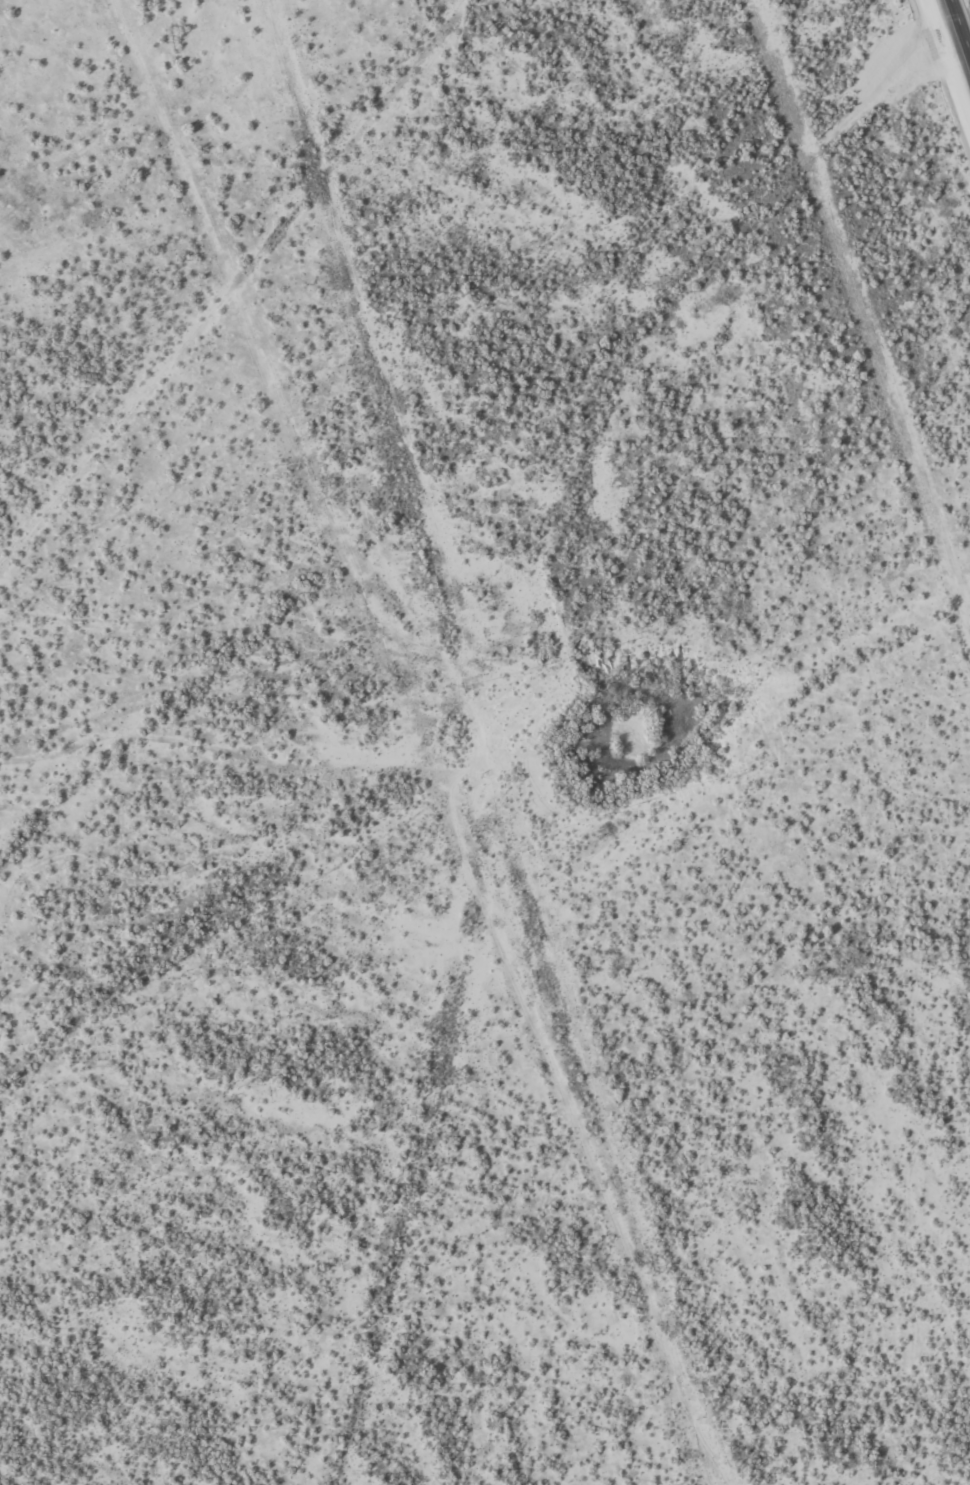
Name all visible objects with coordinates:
road: (745, 1227)

